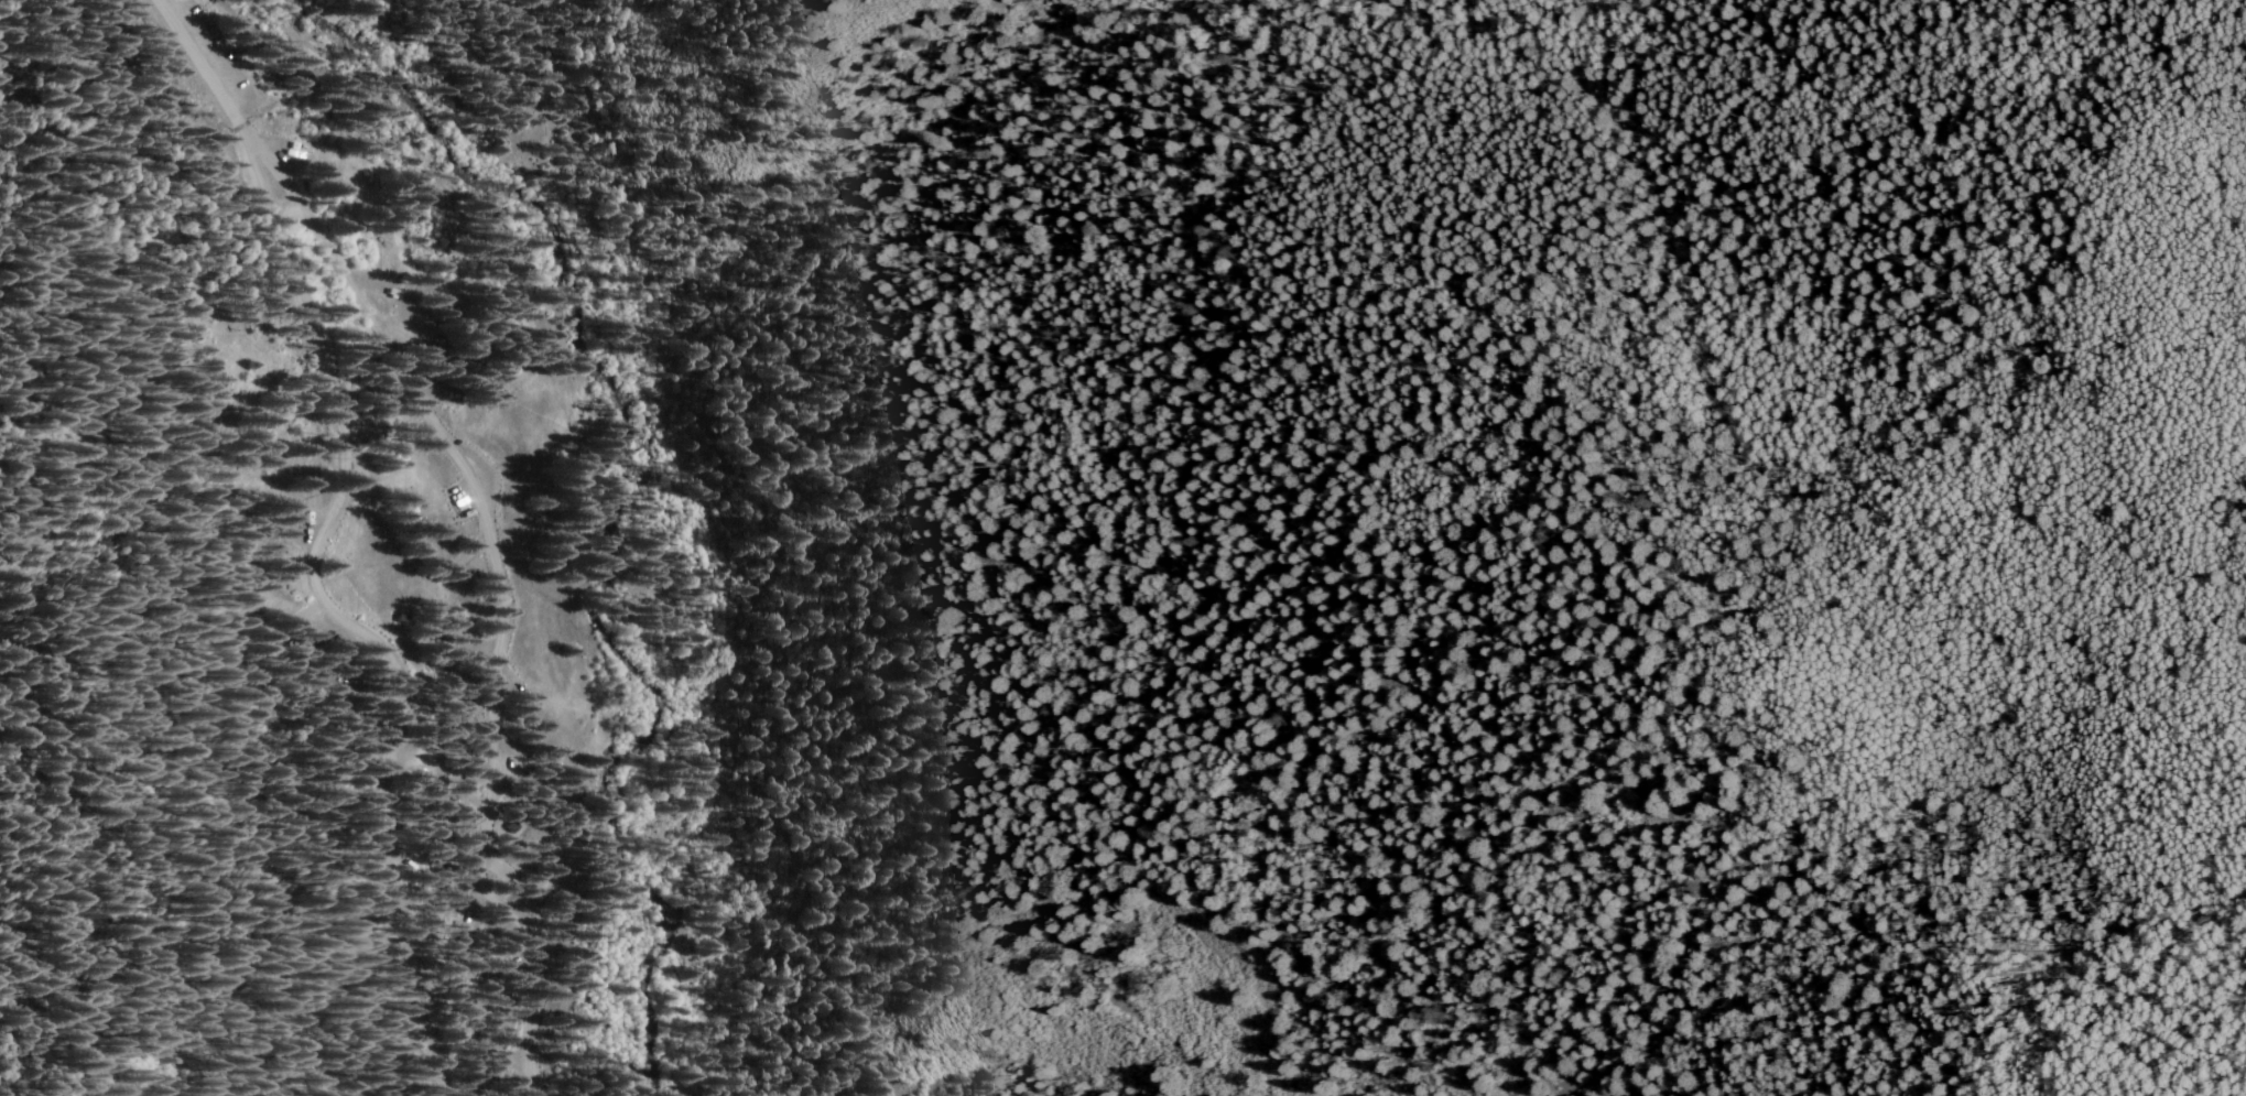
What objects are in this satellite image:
road: (204, 67)
road: (258, 142)
river: (601, 479)
road: (169, 563)

